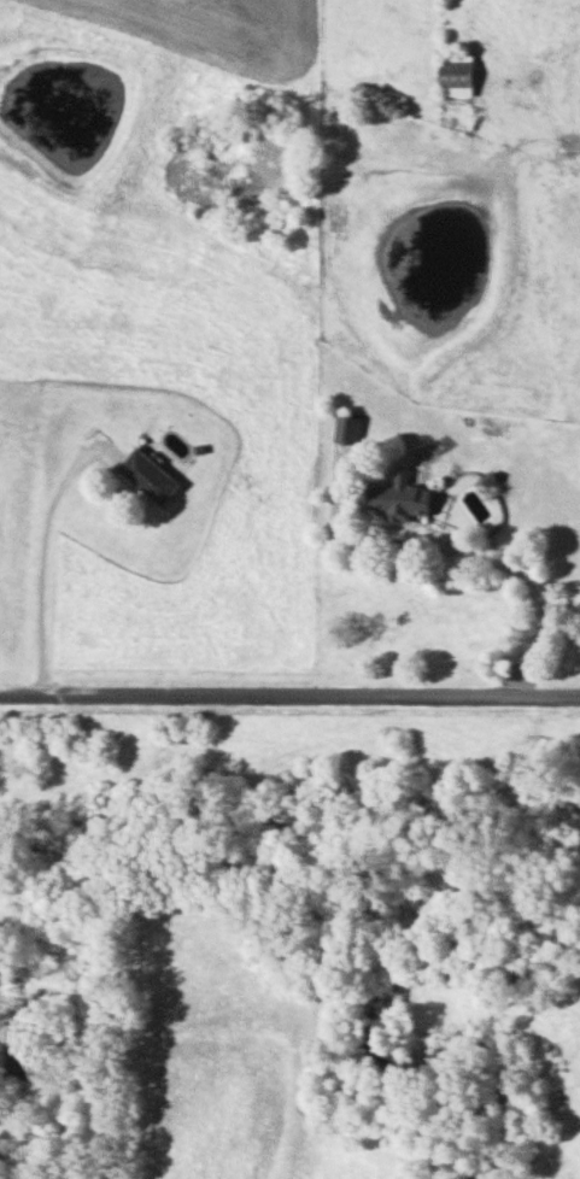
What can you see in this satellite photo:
building: (453, 74)
building: (346, 429)
building: (146, 476)
building: (398, 498)
road: (479, 558)
road: (47, 565)
road: (289, 693)
building: (17, 1057)

